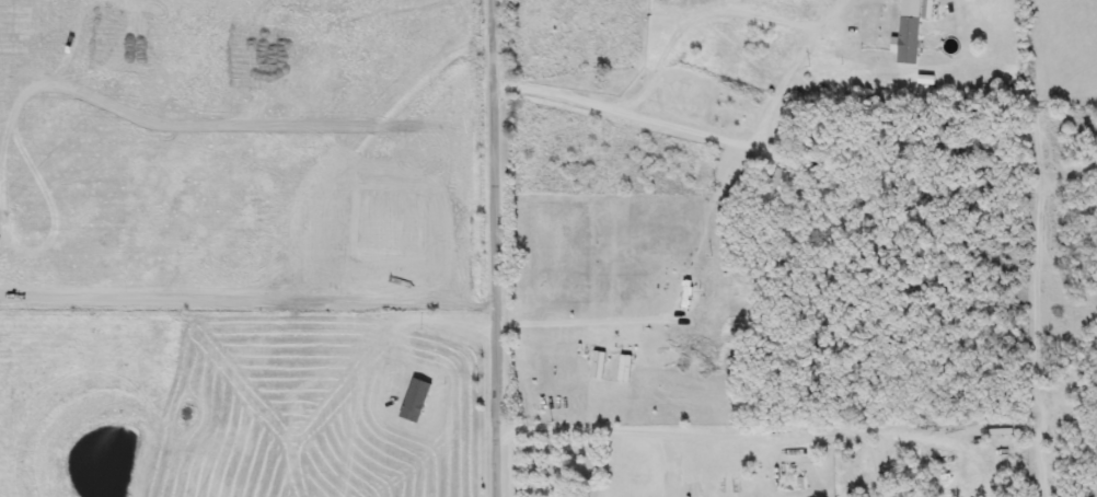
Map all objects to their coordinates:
road: (773, 107)
road: (489, 248)
road: (731, 442)

